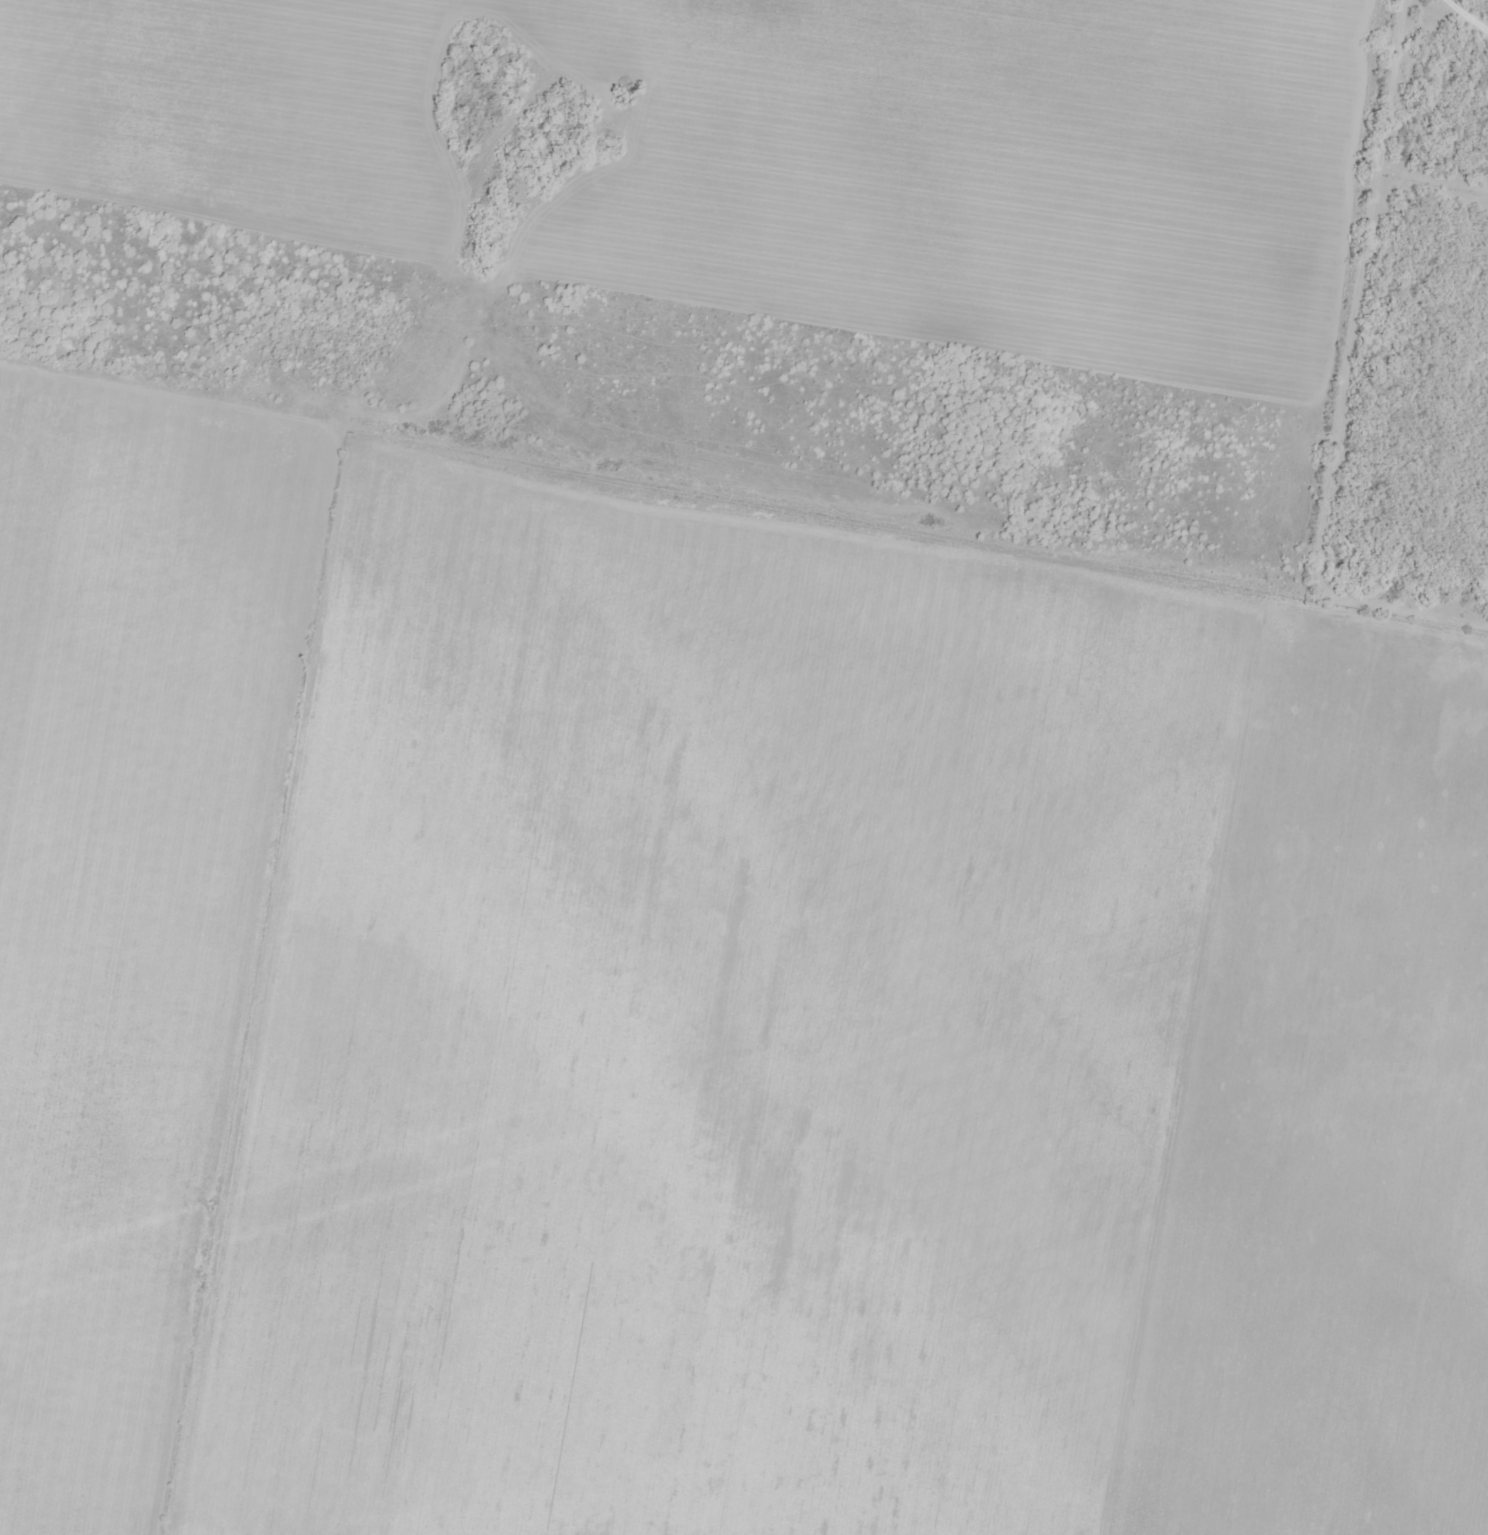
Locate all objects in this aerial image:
road: (417, 404)
road: (938, 523)
road: (1060, 769)
road: (748, 1113)

